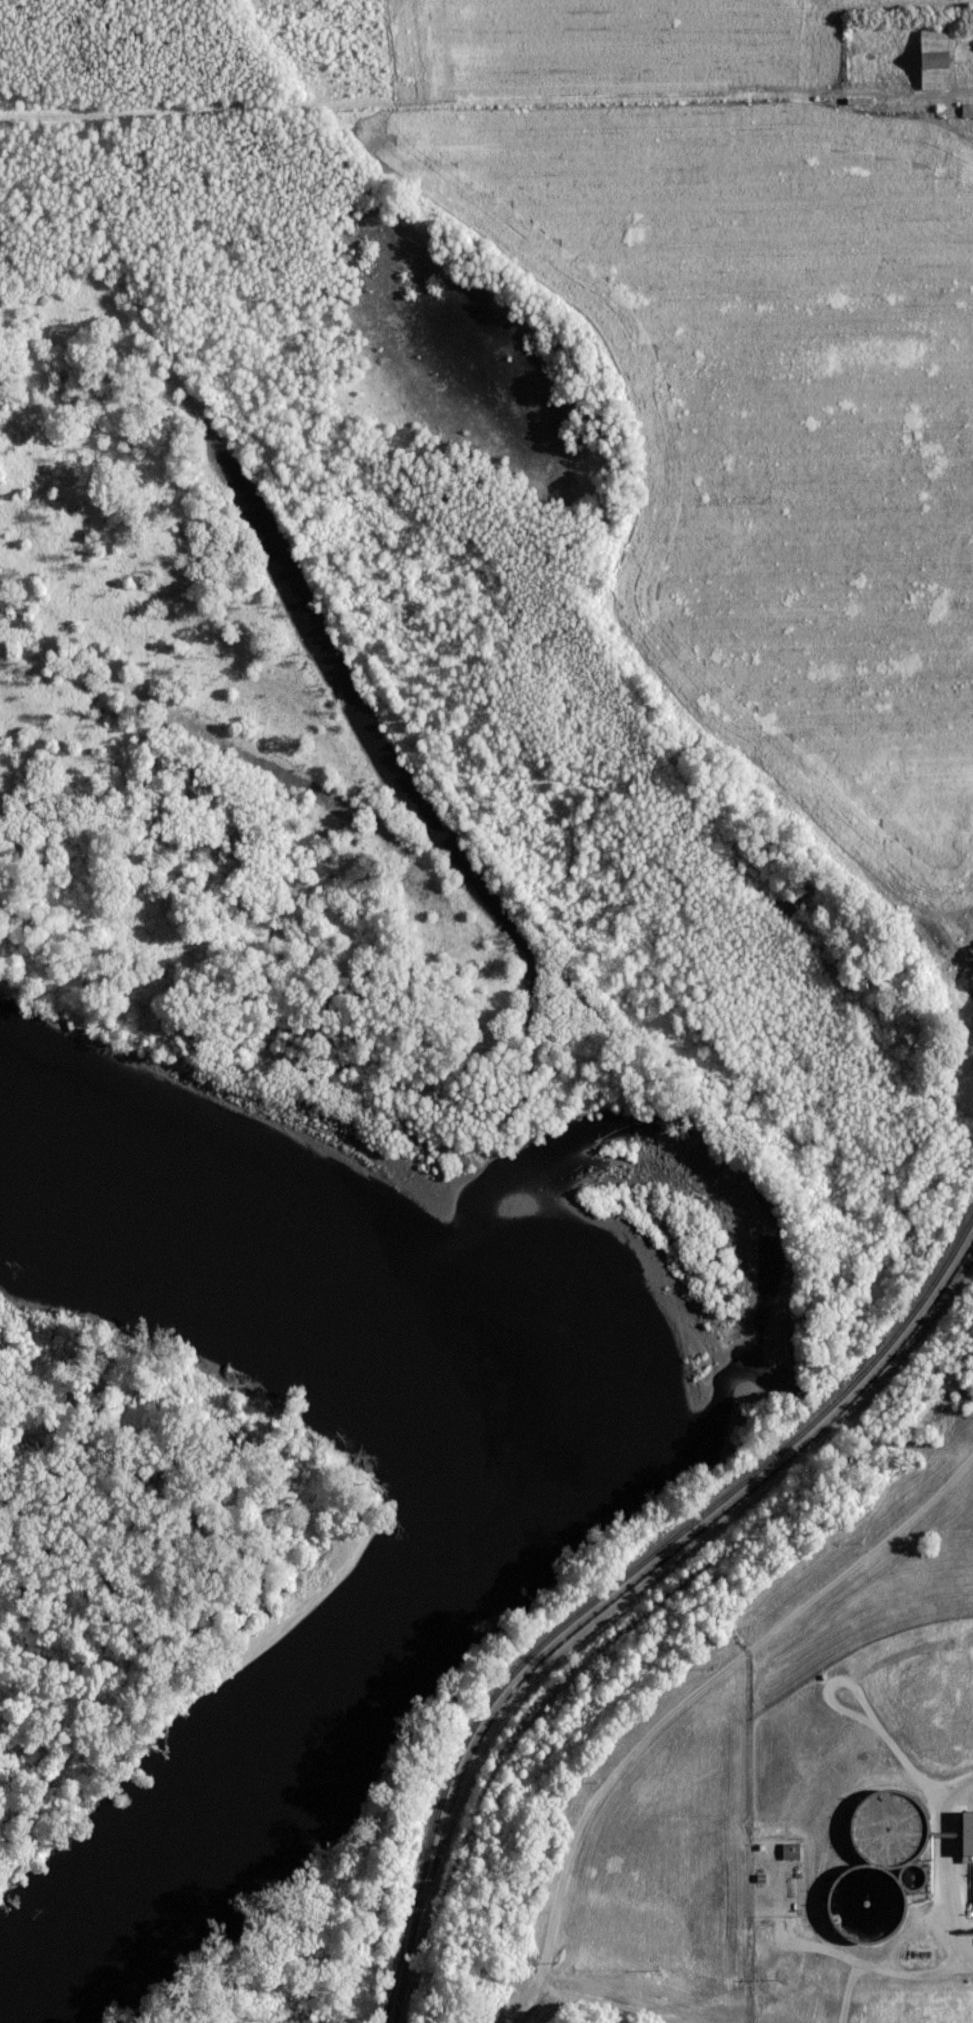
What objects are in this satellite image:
building: (932, 64)
road: (486, 103)
building: (859, 105)
building: (966, 114)
river: (547, 1478)
railway: (656, 1568)
railway: (623, 1579)
railway: (555, 1662)
road: (686, 1702)
building: (966, 1837)
building: (788, 1855)
building: (759, 1883)
building: (865, 1911)
building: (306, 2017)

